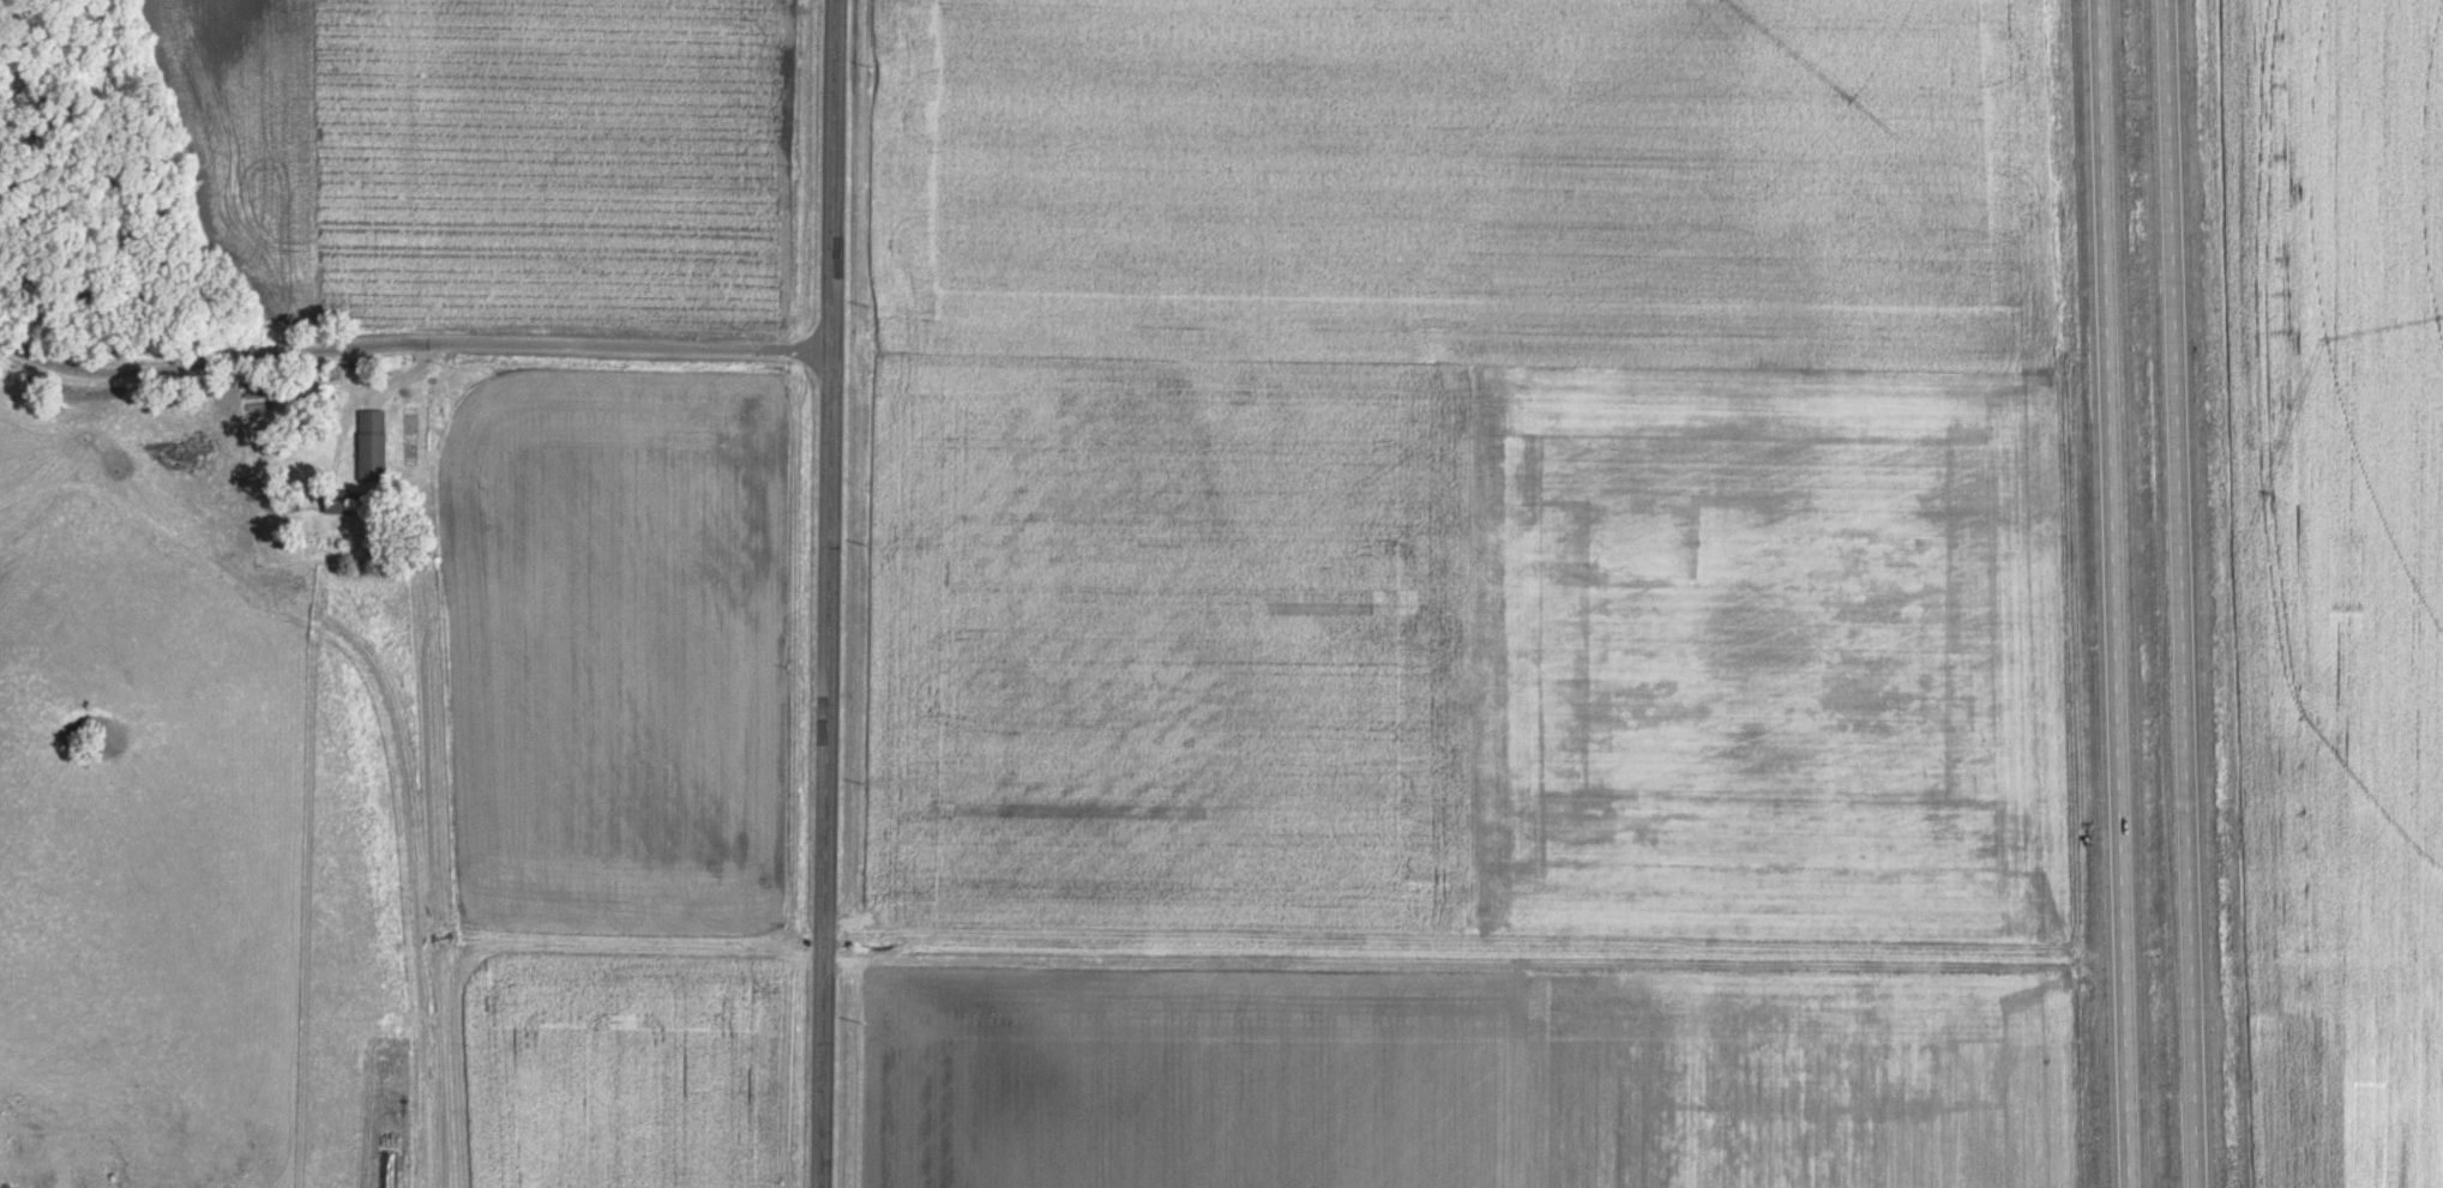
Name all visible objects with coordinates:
road: (411, 343)
building: (375, 441)
building: (339, 497)
road: (828, 593)
road: (2111, 593)
road: (2180, 593)

